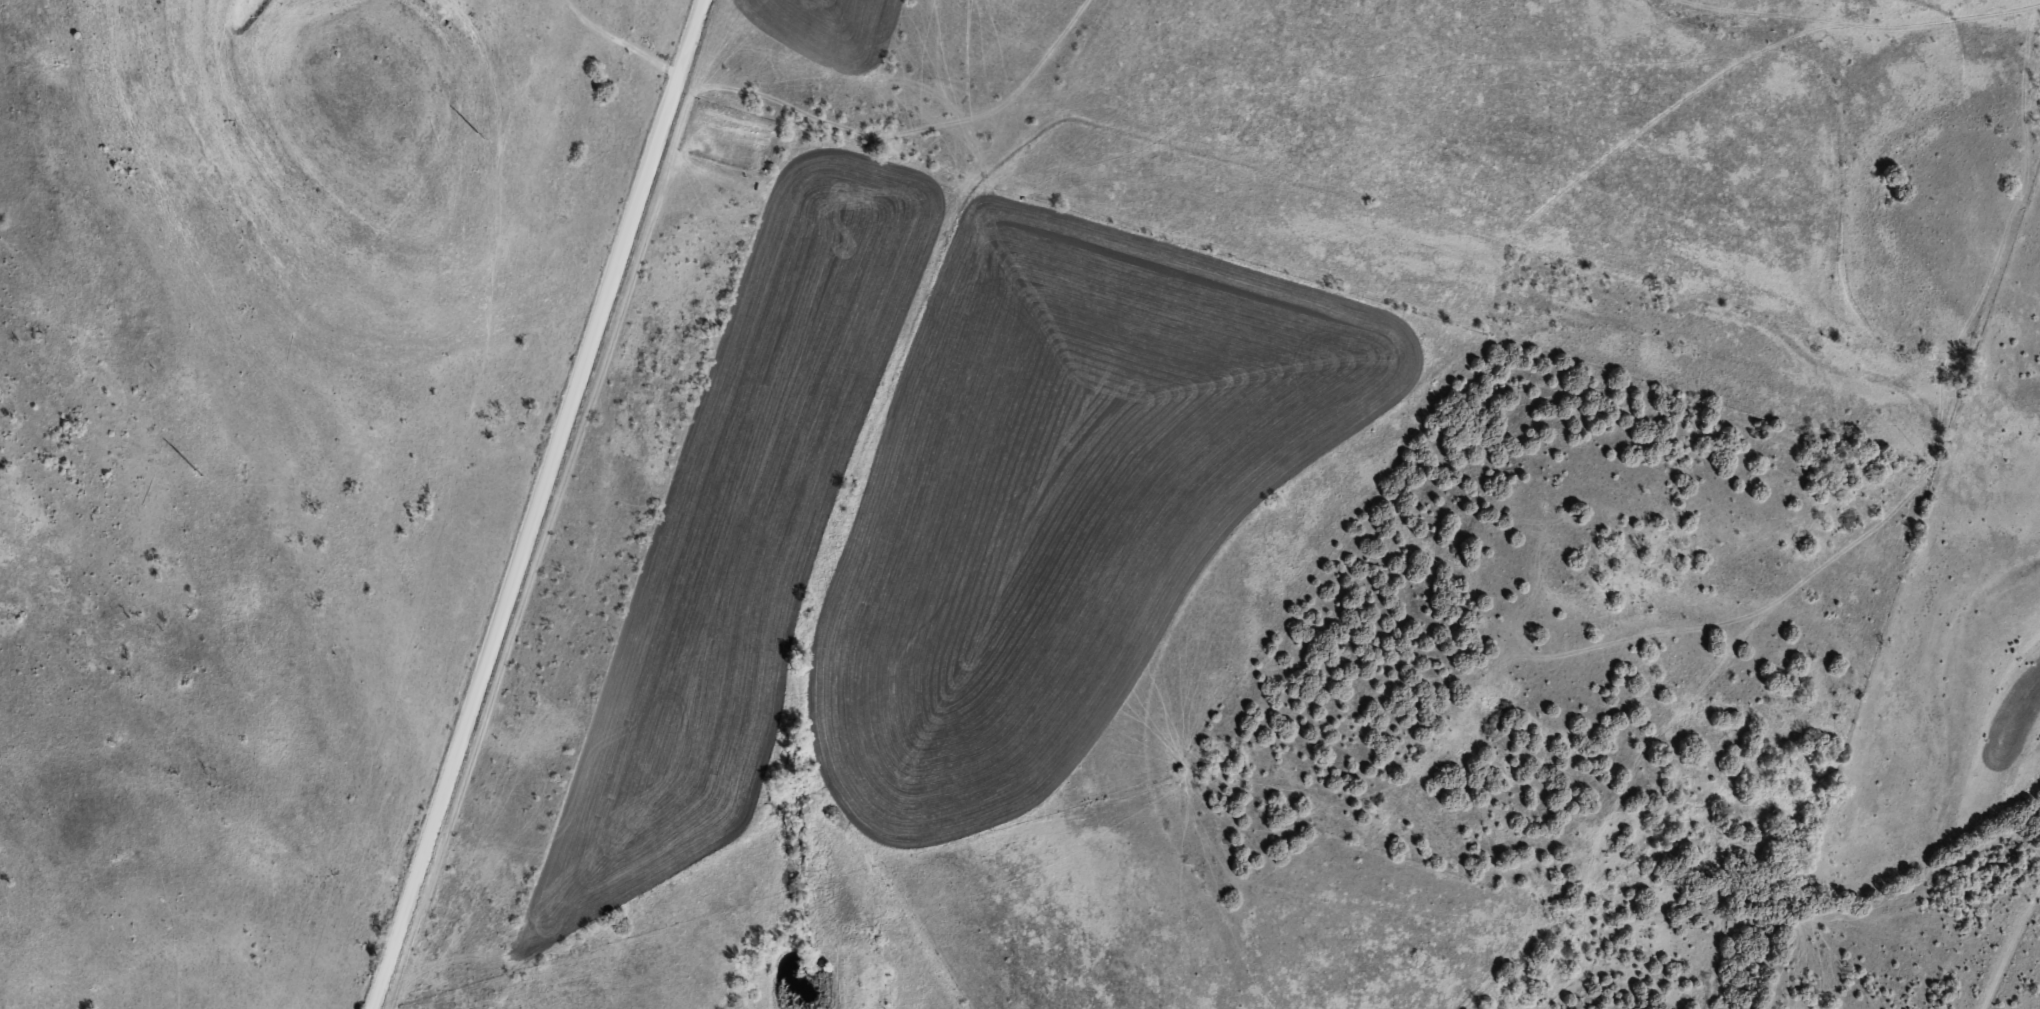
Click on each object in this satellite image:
power tower: (480, 134)
power tower: (198, 471)
road: (533, 504)

